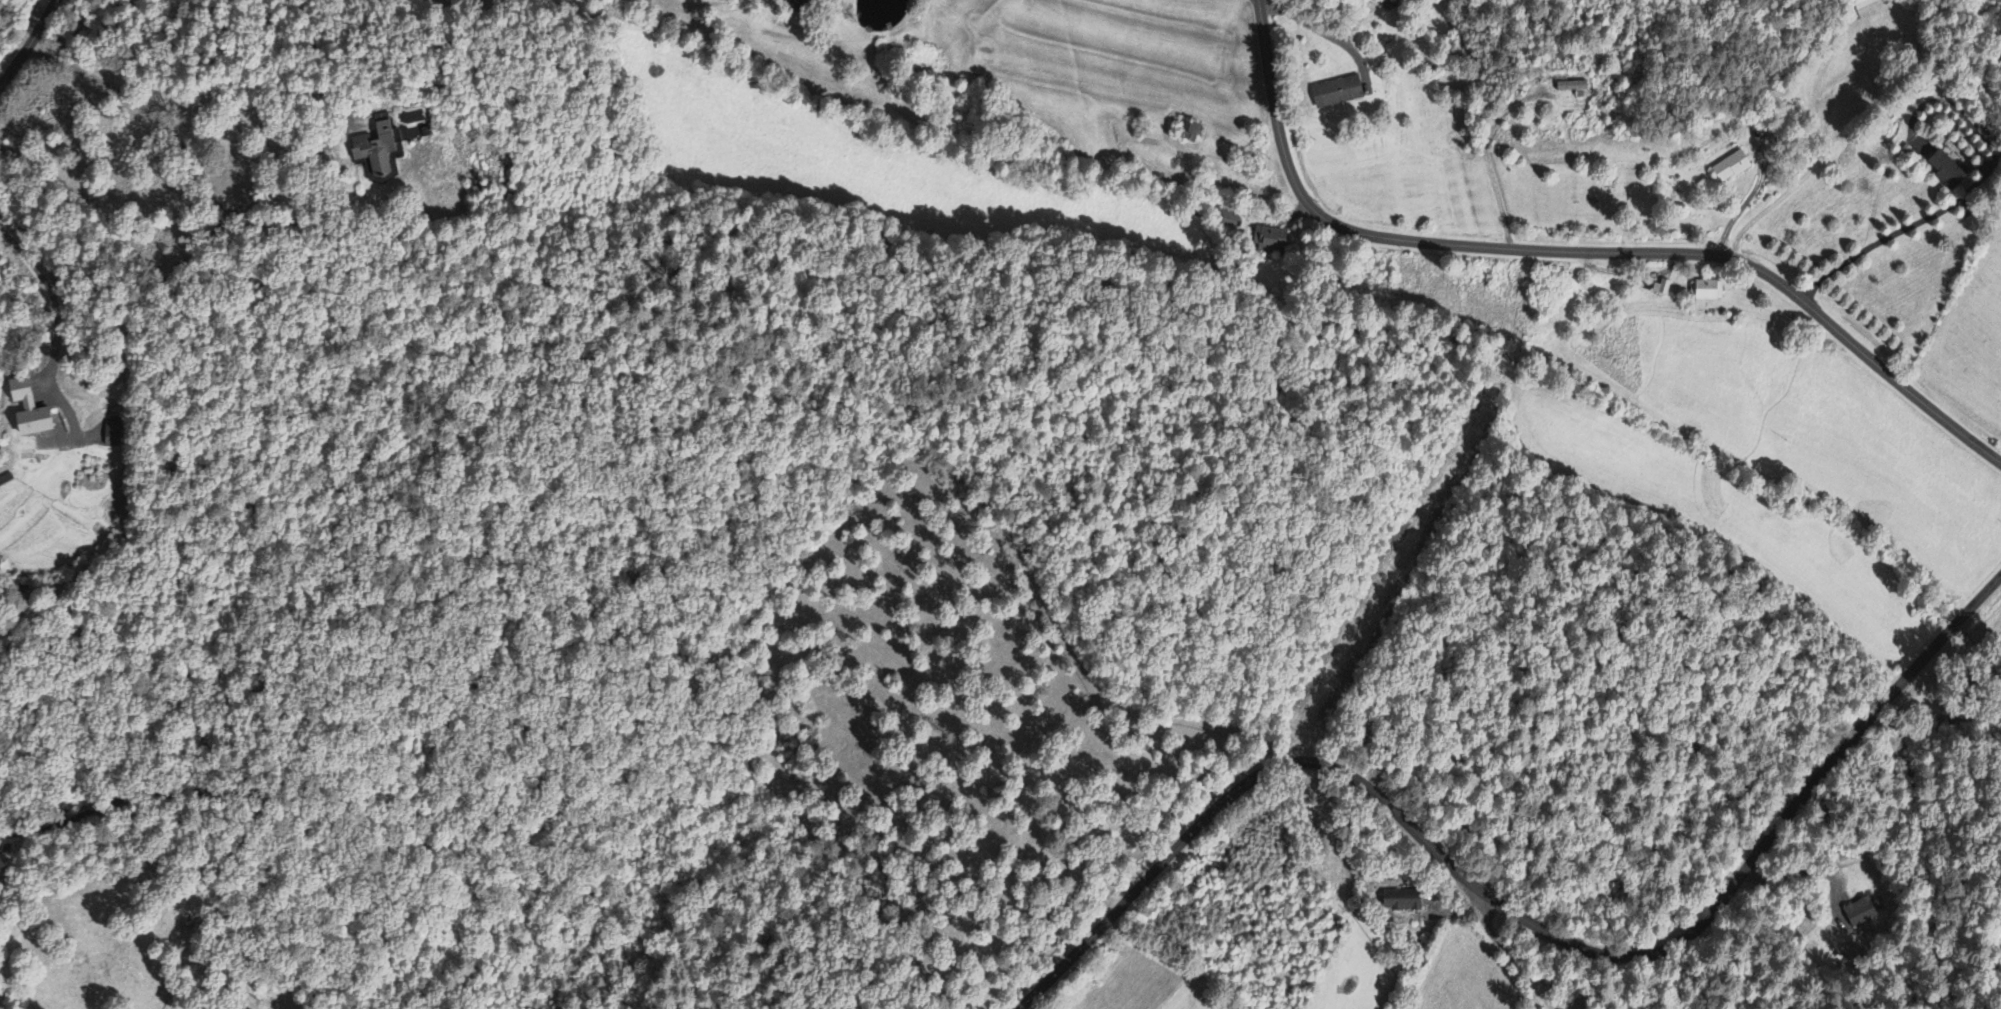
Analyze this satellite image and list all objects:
road: (29, 43)
building: (1573, 88)
building: (1335, 93)
building: (1192, 132)
building: (375, 148)
building: (1730, 168)
building: (1946, 172)
building: (1270, 240)
road: (1581, 248)
building: (1660, 289)
building: (1706, 293)
building: (28, 411)
building: (1401, 901)
road: (1518, 915)
building: (1857, 918)

